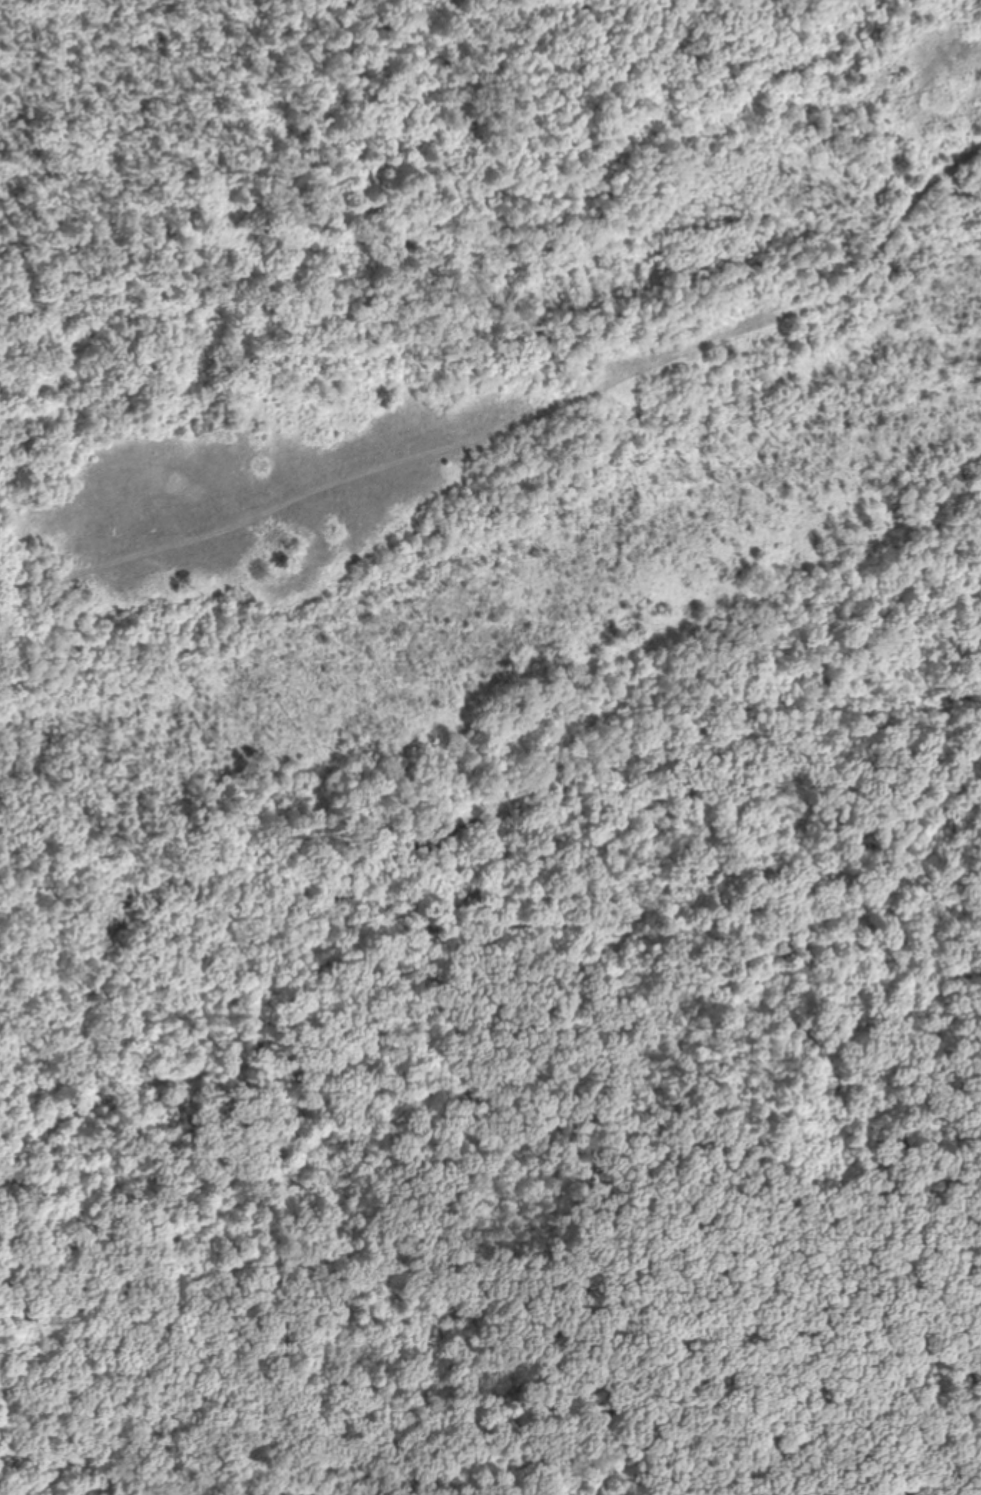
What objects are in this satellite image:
road: (510, 370)
park: (462, 474)

